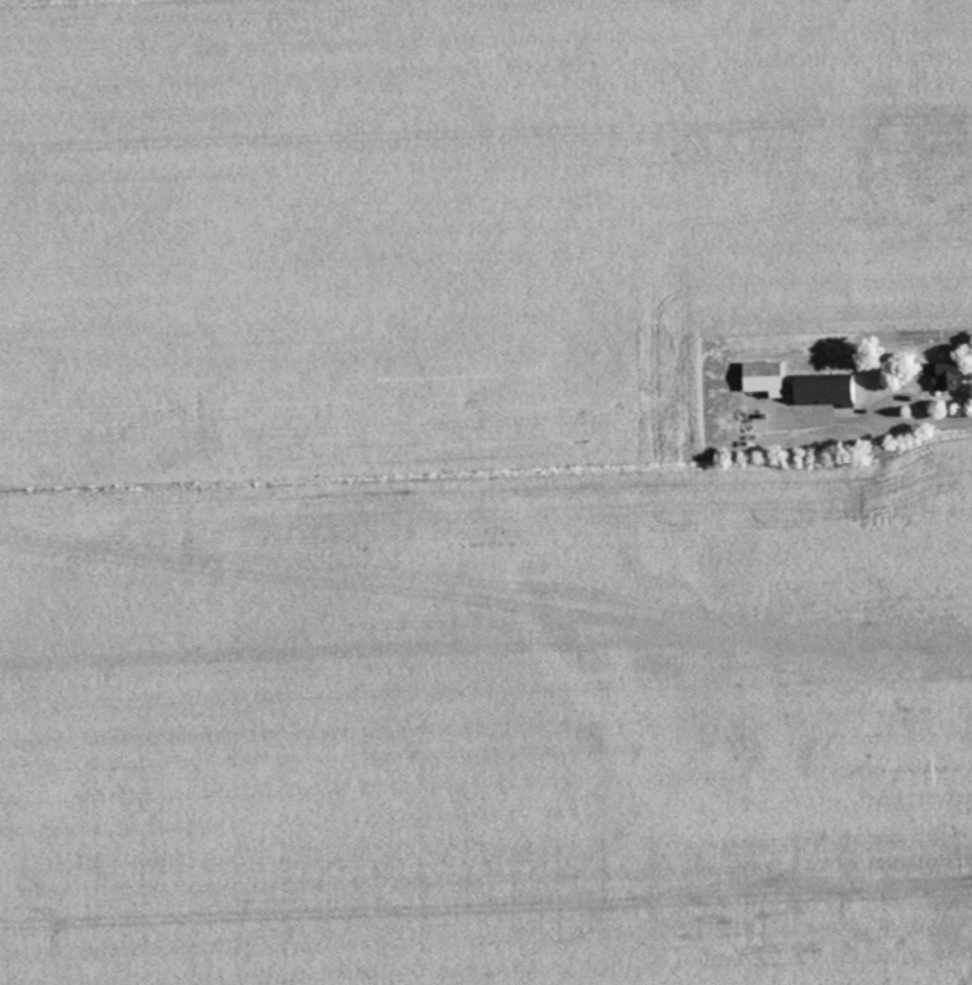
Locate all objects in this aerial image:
building: (948, 375)
building: (767, 377)
building: (828, 390)
building: (854, 500)

